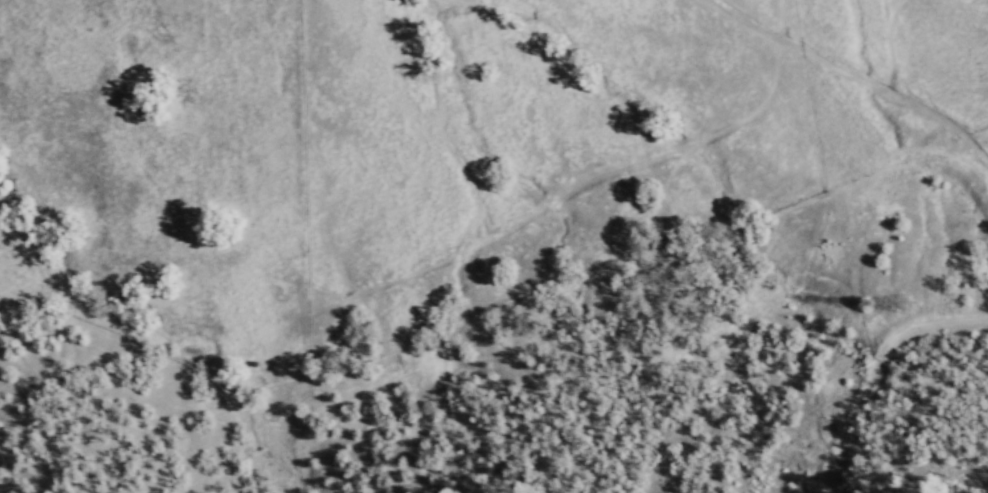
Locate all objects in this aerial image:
power tower: (906, 305)

